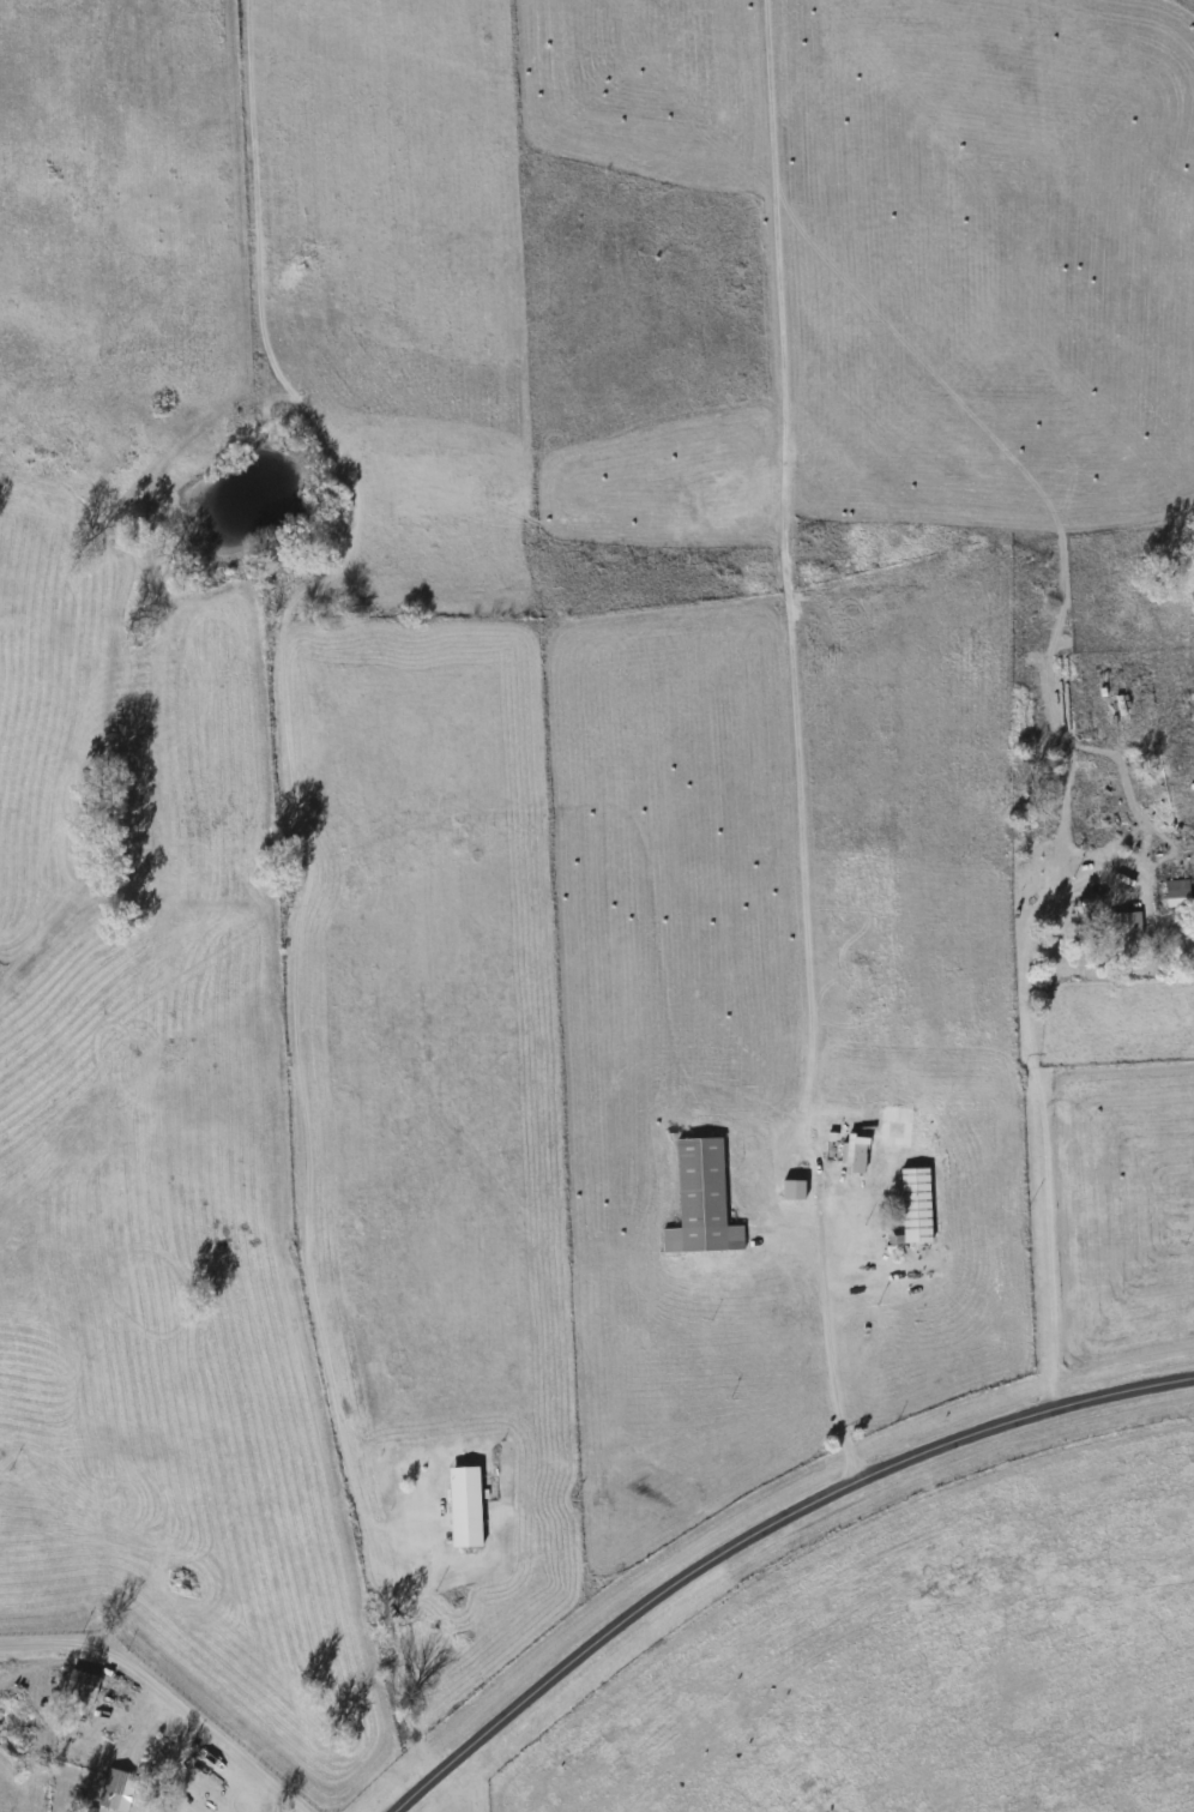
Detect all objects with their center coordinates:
building: (1178, 893)
road: (203, 932)
building: (1124, 935)
building: (704, 1202)
building: (916, 1209)
building: (468, 1509)
road: (762, 1530)
road: (66, 1651)
building: (84, 1685)
building: (303, 1736)
building: (117, 1789)

